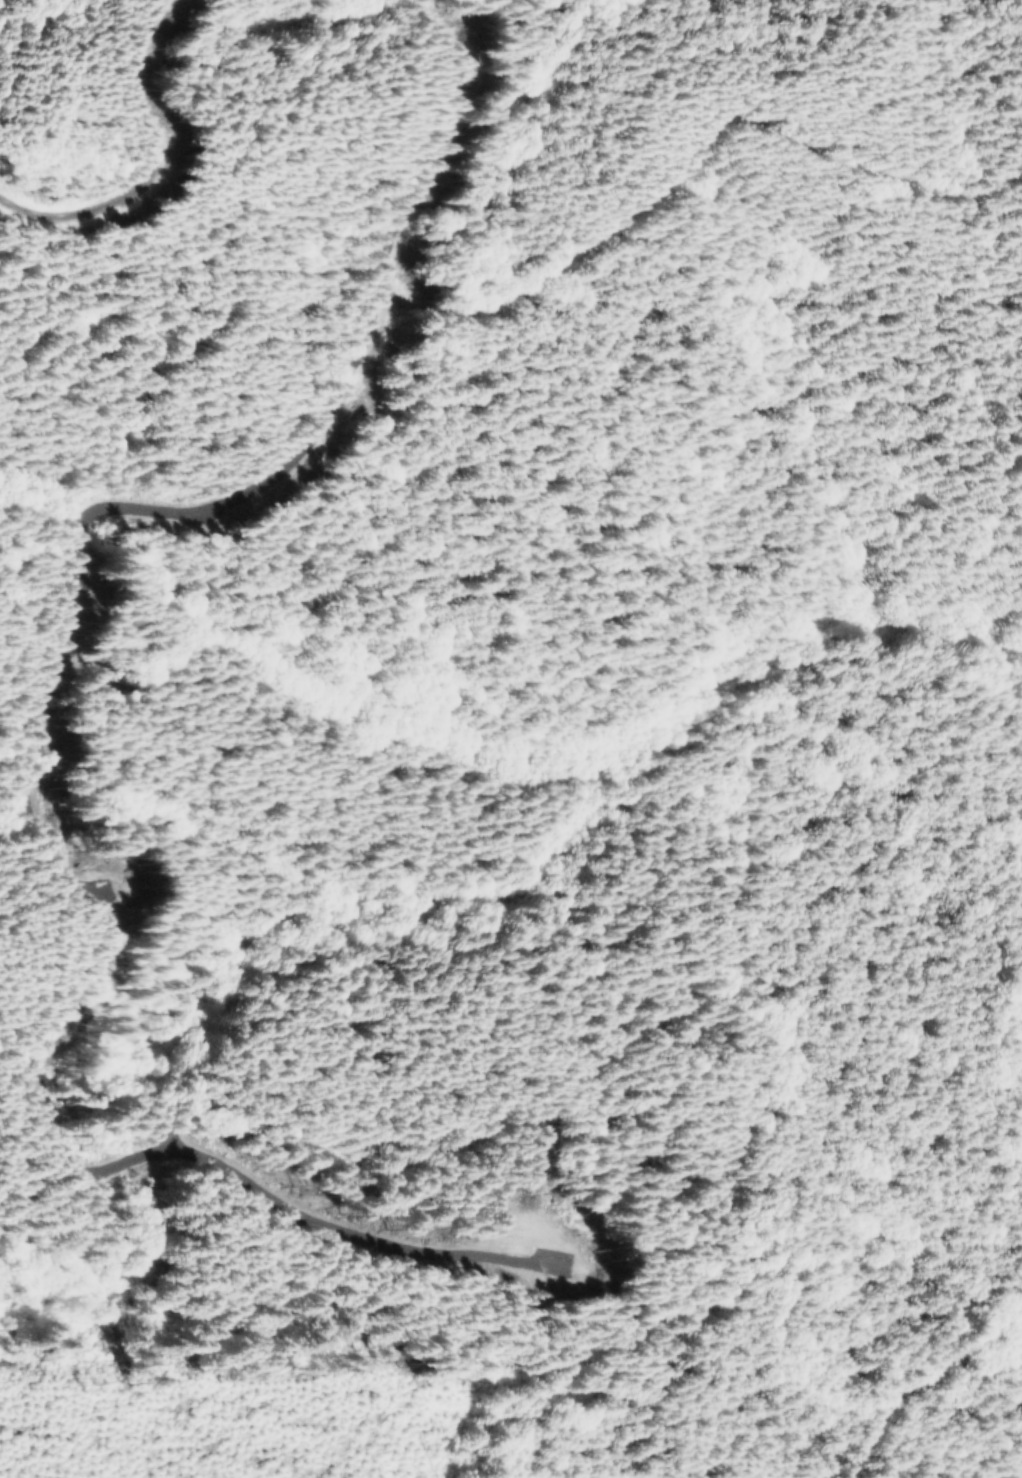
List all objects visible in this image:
road: (39, 65)
road: (416, 129)
road: (384, 251)
road: (22, 854)

